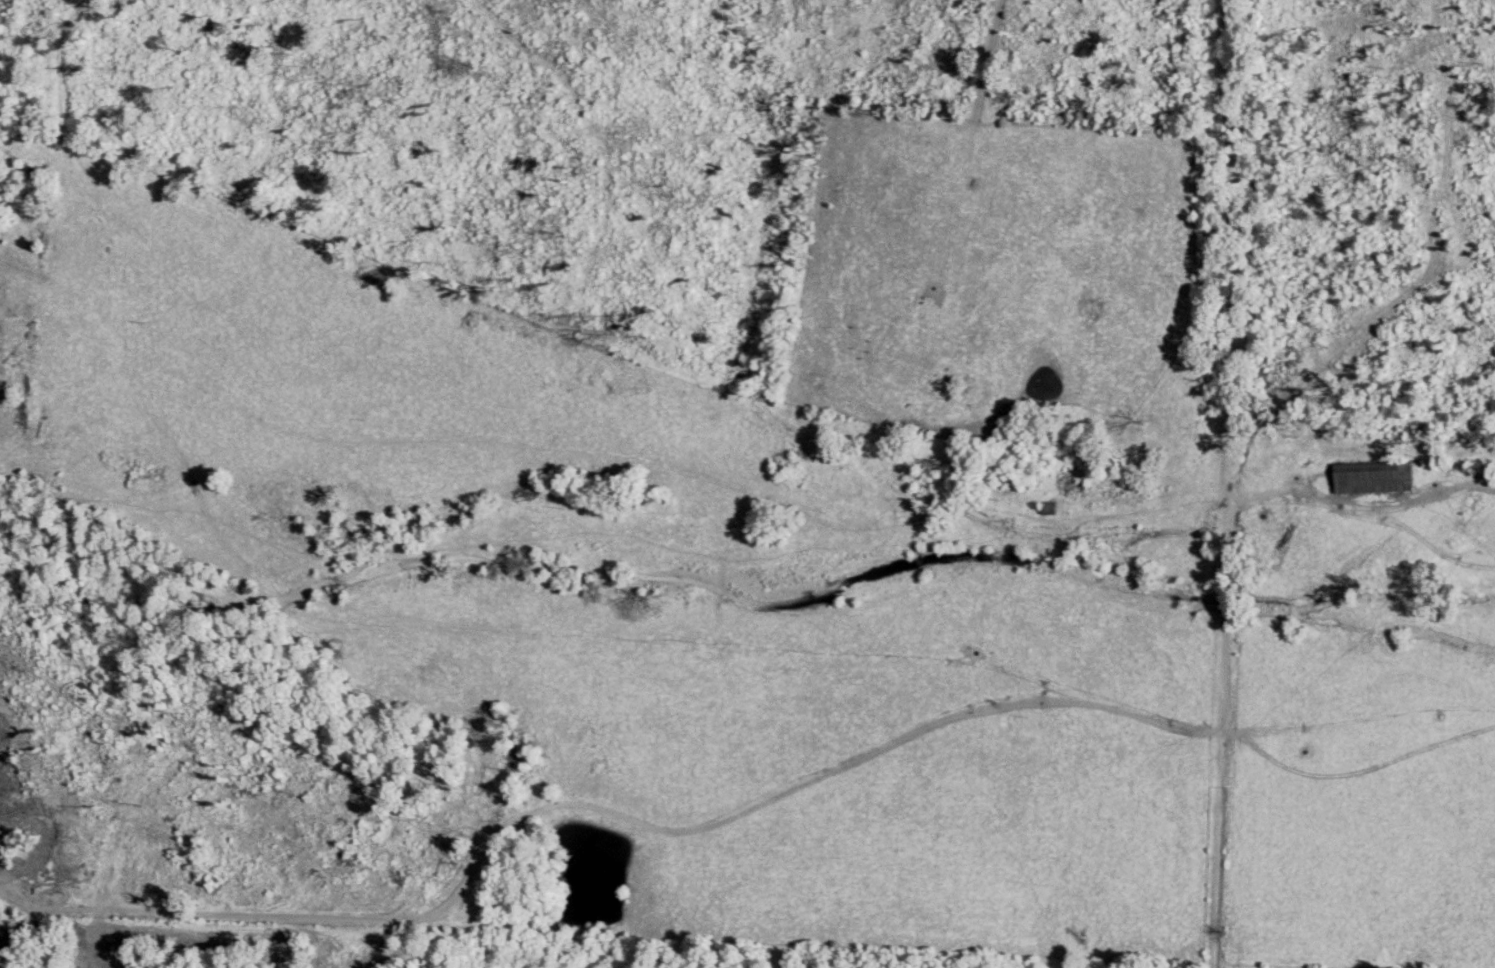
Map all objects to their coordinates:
road: (1231, 483)

